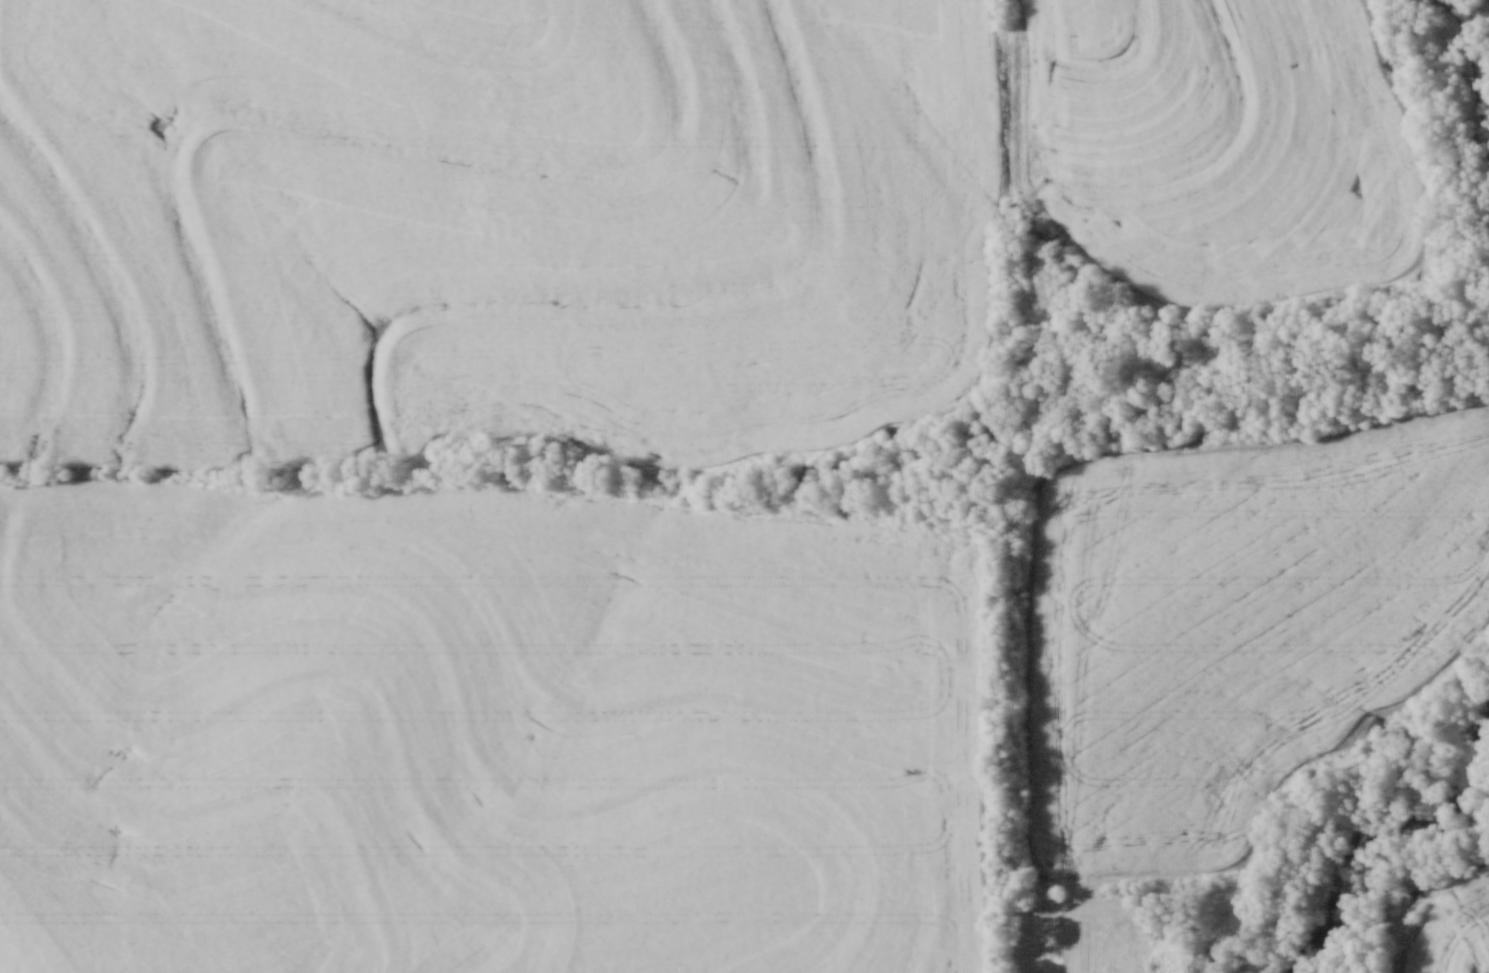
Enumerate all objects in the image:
building: (1208, 964)

